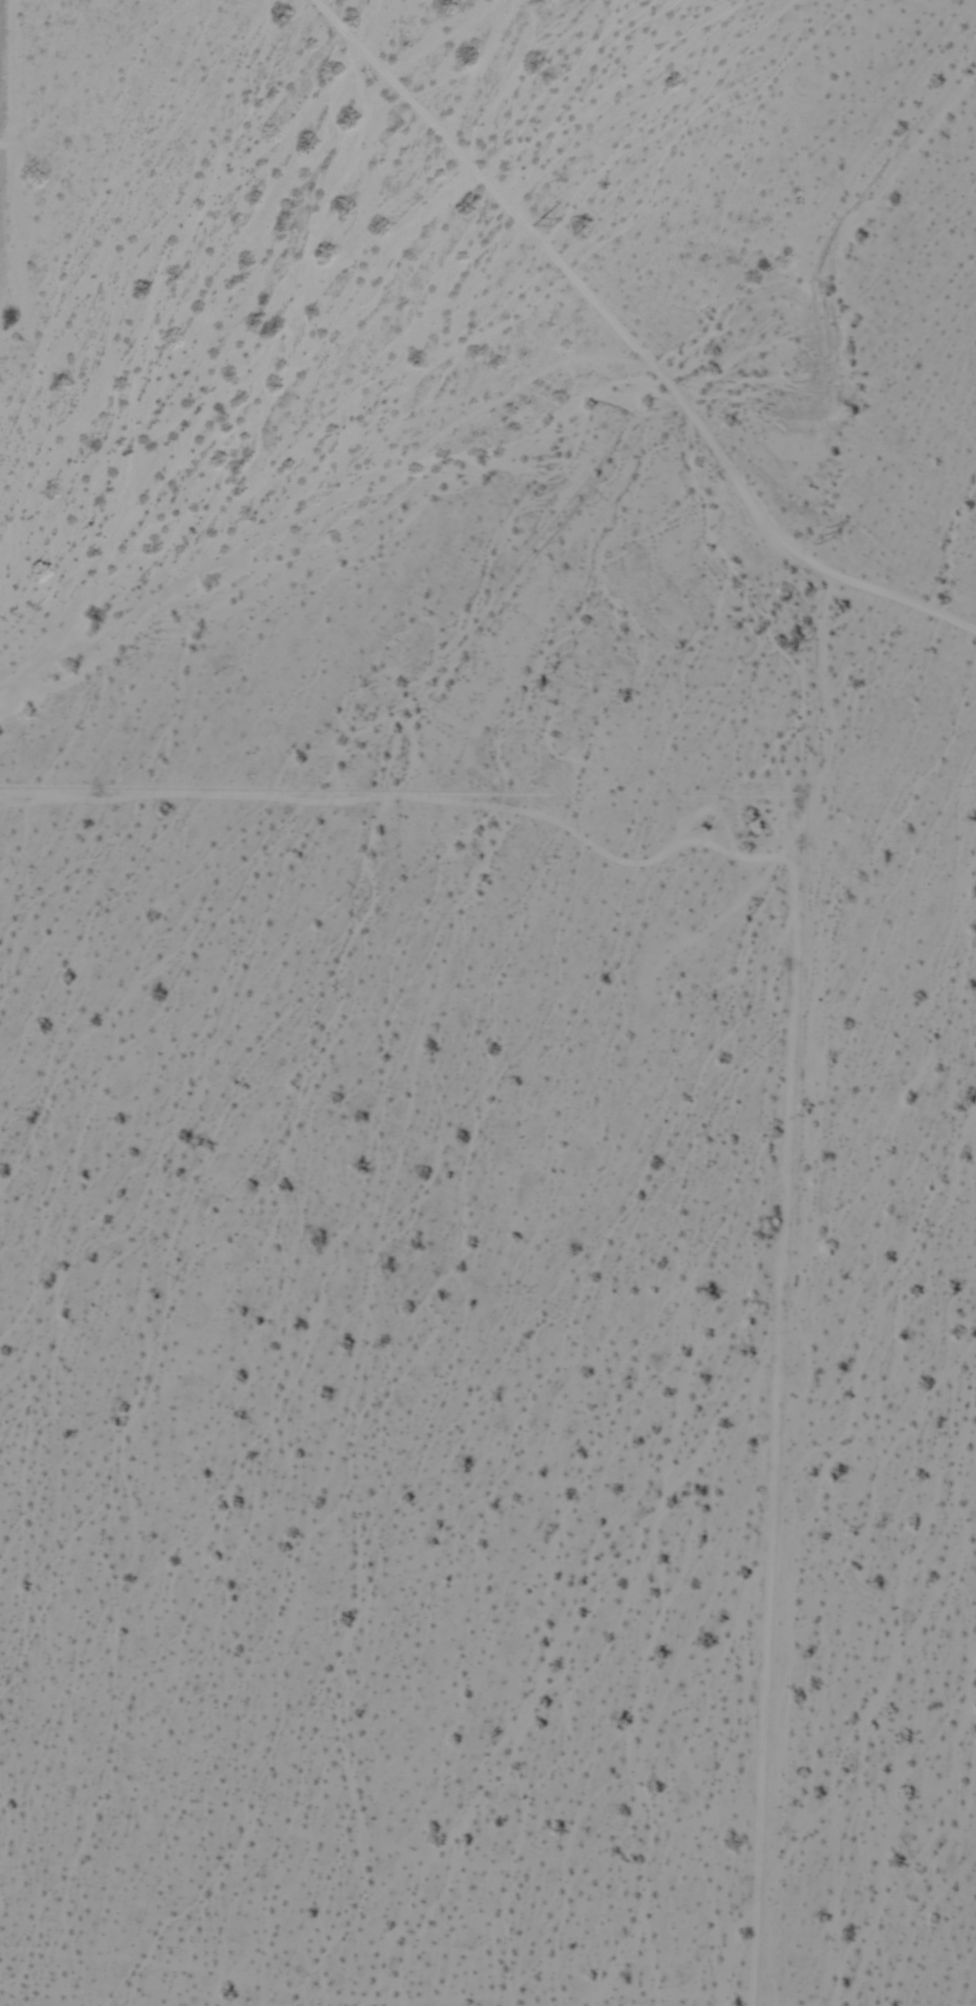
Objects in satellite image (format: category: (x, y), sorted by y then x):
power tower: (534, 217)
power tower: (815, 531)

